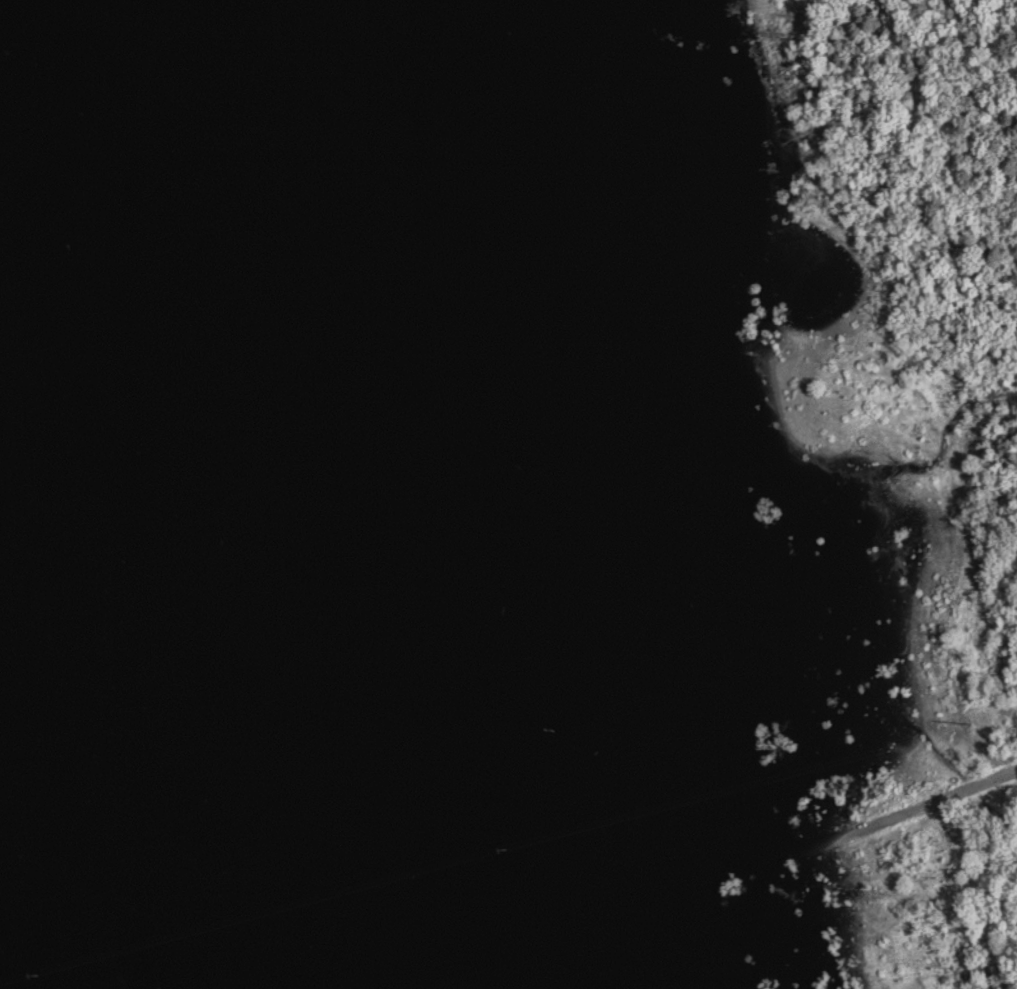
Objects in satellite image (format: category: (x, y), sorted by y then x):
road: (896, 814)

